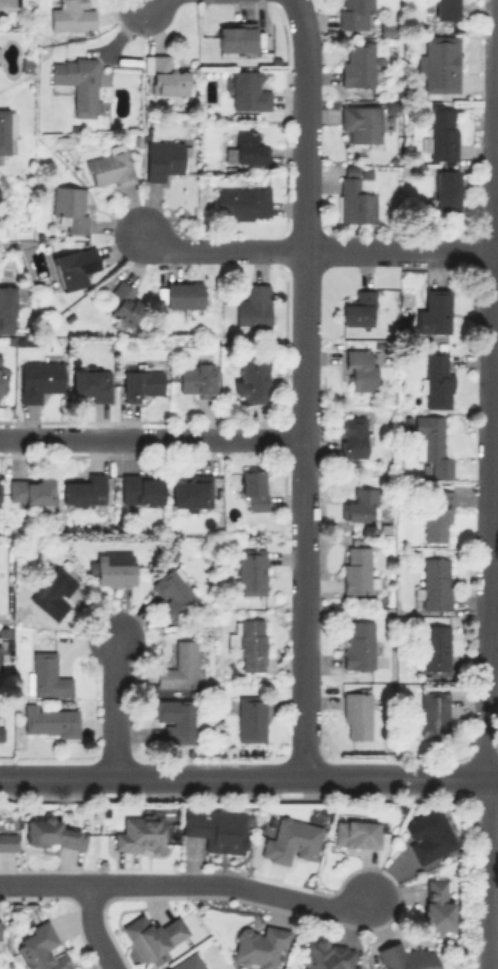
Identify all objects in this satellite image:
road: (497, 0)
road: (151, 4)
building: (445, 9)
building: (355, 14)
building: (71, 15)
building: (235, 38)
building: (357, 63)
building: (438, 63)
building: (167, 76)
building: (77, 81)
building: (247, 90)
building: (360, 122)
building: (6, 131)
building: (441, 133)
building: (249, 147)
building: (162, 158)
building: (110, 166)
building: (444, 190)
building: (354, 195)
building: (241, 203)
building: (69, 207)
road: (218, 250)
road: (399, 250)
road: (495, 250)
building: (72, 267)
road: (305, 270)
building: (182, 294)
building: (122, 302)
building: (251, 306)
building: (6, 308)
building: (357, 308)
building: (432, 312)
building: (0, 358)
building: (359, 369)
building: (2, 376)
building: (38, 379)
building: (196, 379)
building: (436, 379)
building: (252, 380)
building: (89, 383)
building: (140, 383)
road: (491, 387)
road: (152, 436)
building: (351, 436)
building: (432, 443)
building: (140, 488)
building: (29, 489)
building: (83, 490)
building: (252, 490)
building: (190, 491)
building: (359, 505)
building: (436, 515)
building: (112, 568)
building: (357, 569)
building: (250, 571)
building: (434, 582)
road: (493, 585)
building: (52, 591)
building: (173, 593)
building: (248, 643)
building: (358, 644)
building: (434, 647)
road: (303, 659)
building: (180, 667)
building: (45, 675)
building: (194, 697)
road: (118, 709)
building: (432, 711)
building: (356, 714)
building: (174, 717)
building: (250, 718)
building: (48, 720)
building: (1, 727)
road: (245, 776)
road: (494, 776)
building: (216, 828)
building: (50, 833)
building: (139, 833)
building: (355, 833)
building: (427, 835)
building: (6, 839)
building: (291, 841)
road: (490, 872)
road: (188, 883)
building: (436, 906)
road: (94, 929)
building: (151, 935)
building: (258, 946)
building: (39, 948)
building: (326, 955)
building: (405, 957)
building: (187, 961)

